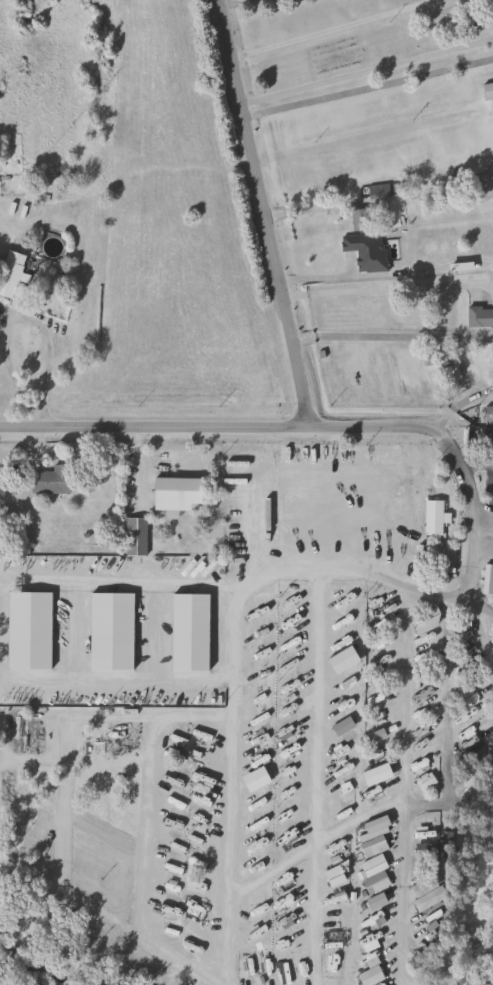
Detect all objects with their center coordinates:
road: (231, 5)
road: (324, 29)
road: (364, 68)
road: (366, 87)
building: (492, 168)
road: (375, 200)
road: (265, 214)
building: (358, 219)
building: (364, 250)
building: (10, 268)
road: (388, 282)
road: (10, 317)
building: (480, 318)
road: (392, 336)
road: (459, 404)
building: (488, 416)
road: (343, 430)
building: (487, 443)
road: (479, 467)
building: (48, 481)
building: (172, 502)
building: (431, 518)
road: (481, 520)
building: (133, 537)
building: (487, 579)
road: (169, 597)
building: (352, 597)
building: (376, 607)
road: (486, 614)
building: (460, 673)
building: (95, 699)
road: (443, 700)
building: (372, 756)
building: (422, 780)
road: (492, 781)
road: (242, 783)
building: (471, 783)
road: (401, 788)
road: (447, 804)
building: (372, 809)
building: (372, 830)
road: (310, 837)
building: (372, 874)
building: (427, 898)
building: (368, 976)
building: (480, 980)

